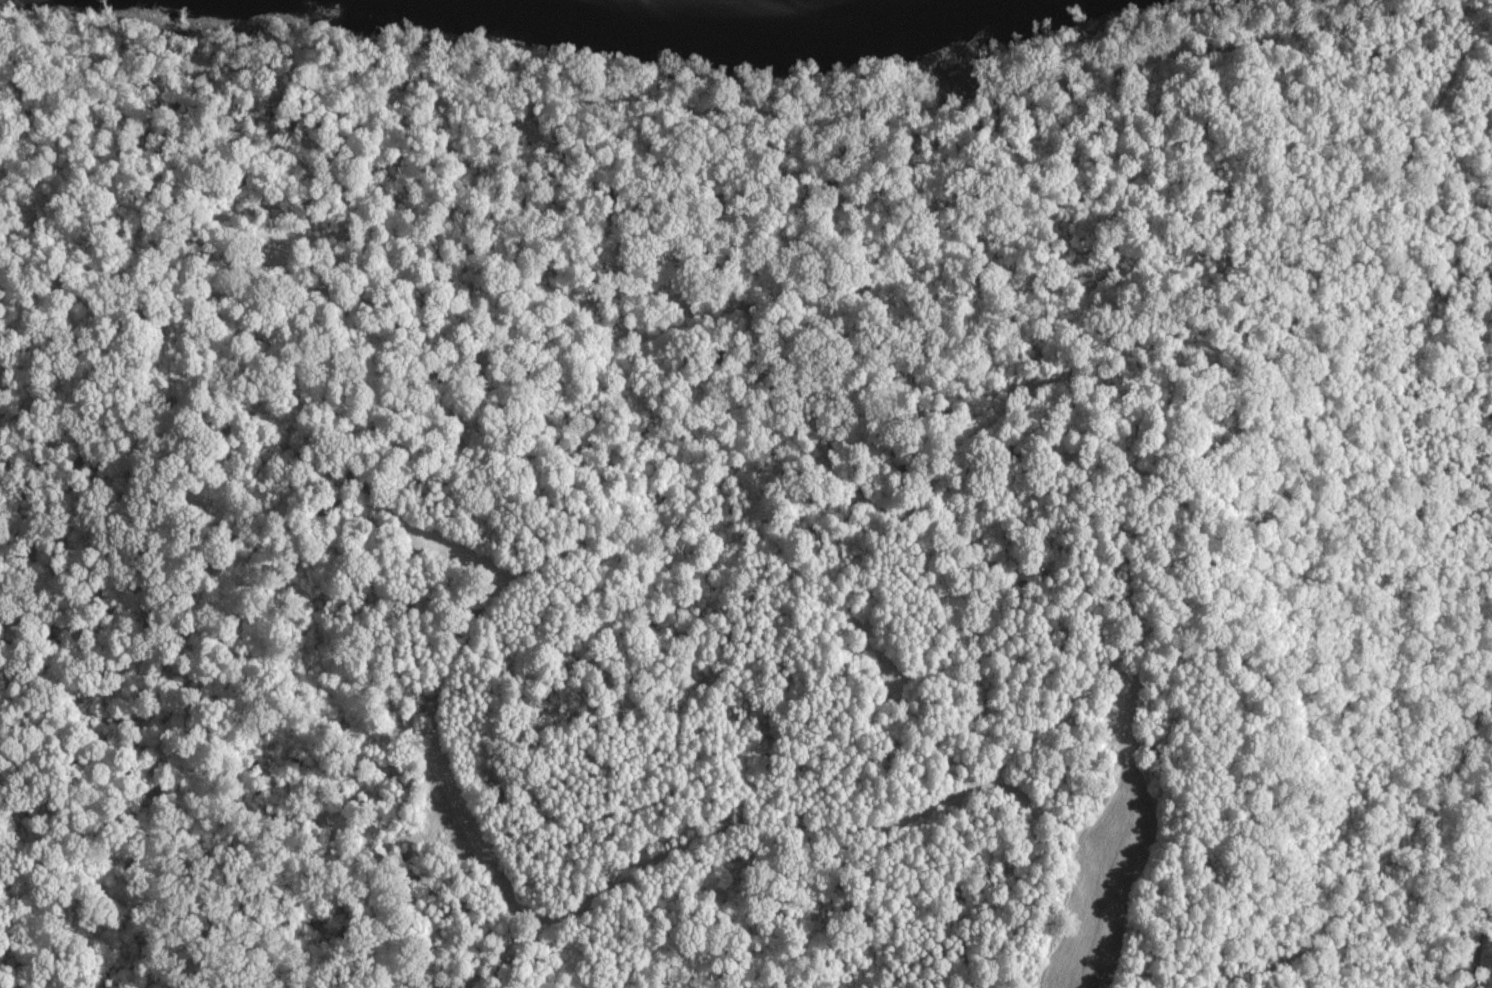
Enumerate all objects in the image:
river: (786, 13)

